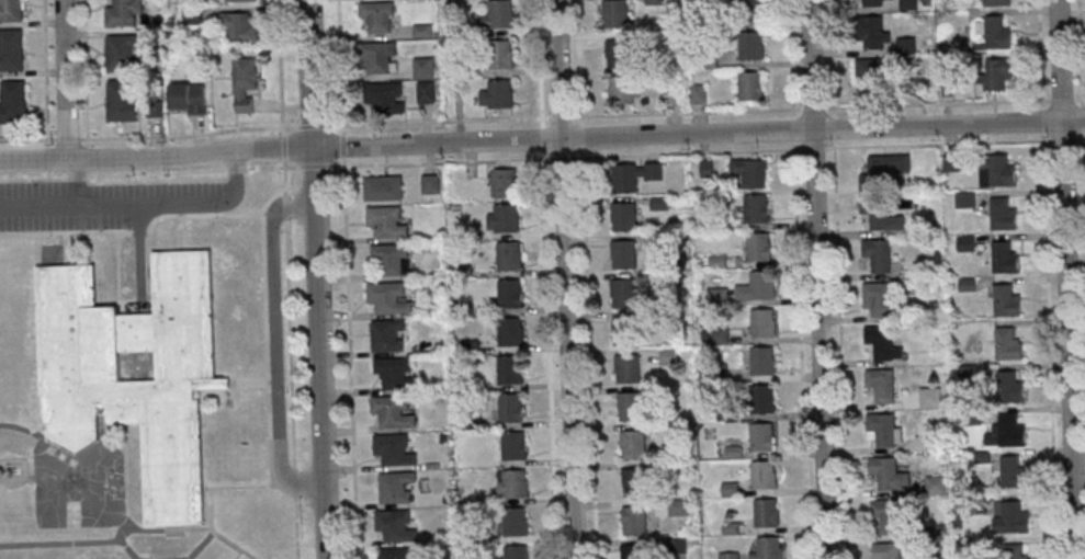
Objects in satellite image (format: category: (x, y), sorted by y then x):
building: (241, 0)
building: (873, 2)
building: (997, 2)
building: (908, 5)
building: (755, 9)
building: (11, 11)
building: (124, 12)
building: (617, 13)
building: (193, 14)
building: (378, 15)
building: (499, 15)
building: (240, 26)
building: (875, 32)
building: (996, 33)
building: (750, 46)
building: (11, 49)
building: (122, 53)
building: (618, 53)
road: (1041, 53)
road: (1080, 53)
building: (501, 55)
building: (380, 57)
road: (791, 57)
road: (832, 57)
road: (579, 62)
road: (540, 64)
road: (341, 66)
road: (281, 67)
building: (425, 67)
road: (86, 69)
building: (871, 71)
road: (46, 72)
building: (996, 75)
road: (68, 80)
building: (246, 84)
building: (751, 85)
building: (623, 89)
building: (426, 92)
building: (698, 92)
building: (498, 94)
building: (386, 96)
building: (189, 98)
road: (1081, 99)
building: (122, 100)
building: (13, 102)
road: (938, 104)
road: (688, 112)
road: (439, 121)
road: (189, 135)
road: (542, 137)
road: (1080, 137)
road: (68, 138)
road: (27, 139)
road: (1084, 151)
building: (883, 170)
building: (996, 170)
building: (750, 172)
building: (635, 174)
building: (504, 182)
building: (431, 184)
building: (384, 187)
building: (965, 199)
road: (156, 201)
parking lot: (100, 203)
road: (38, 205)
building: (756, 207)
building: (1003, 214)
building: (882, 215)
building: (624, 216)
building: (504, 217)
building: (387, 221)
road: (136, 231)
road: (181, 232)
building: (967, 242)
building: (760, 248)
road: (65, 249)
road: (139, 251)
building: (623, 254)
building: (509, 255)
building: (878, 255)
building: (1005, 258)
building: (392, 259)
road: (120, 271)
road: (318, 278)
road: (567, 278)
road: (1069, 278)
road: (820, 279)
building: (759, 286)
building: (623, 292)
building: (510, 293)
building: (391, 296)
building: (882, 299)
building: (1006, 300)
building: (764, 323)
building: (625, 330)
building: (510, 332)
building: (387, 334)
building: (720, 335)
building: (883, 342)
building: (1008, 343)
road: (275, 344)
road: (267, 345)
road: (1050, 345)
road: (291, 346)
building: (668, 356)
building: (762, 362)
building: (628, 368)
building: (396, 373)
building: (510, 373)
road: (249, 381)
building: (881, 385)
building: (135, 387)
building: (1011, 387)
building: (930, 398)
building: (764, 400)
building: (631, 406)
building: (511, 407)
building: (394, 412)
road: (103, 425)
road: (21, 427)
building: (884, 430)
building: (1009, 432)
building: (761, 436)
building: (633, 443)
building: (513, 445)
building: (394, 449)
building: (1009, 470)
building: (764, 474)
building: (889, 475)
building: (633, 481)
building: (512, 483)
road: (237, 486)
building: (936, 486)
building: (397, 487)
building: (679, 506)
building: (767, 512)
building: (886, 517)
building: (1010, 518)
building: (635, 520)
building: (516, 521)
road: (125, 524)
building: (396, 525)
road: (217, 532)
road: (60, 541)
road: (126, 546)
building: (768, 548)
building: (632, 551)
building: (886, 551)
building: (1016, 551)
building: (517, 552)
building: (398, 554)
building: (728, 556)

